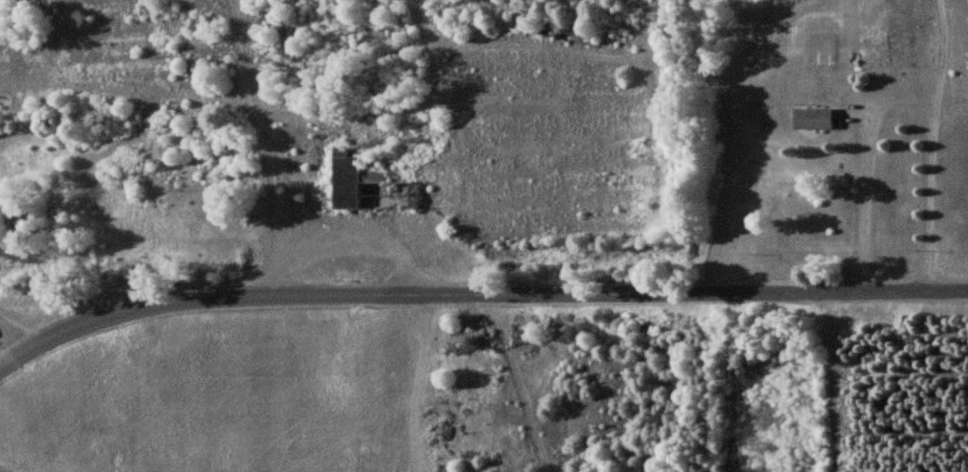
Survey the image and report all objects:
building: (813, 118)
road: (932, 145)
road: (267, 147)
building: (351, 180)
road: (865, 203)
road: (570, 294)
road: (87, 300)
road: (83, 325)

